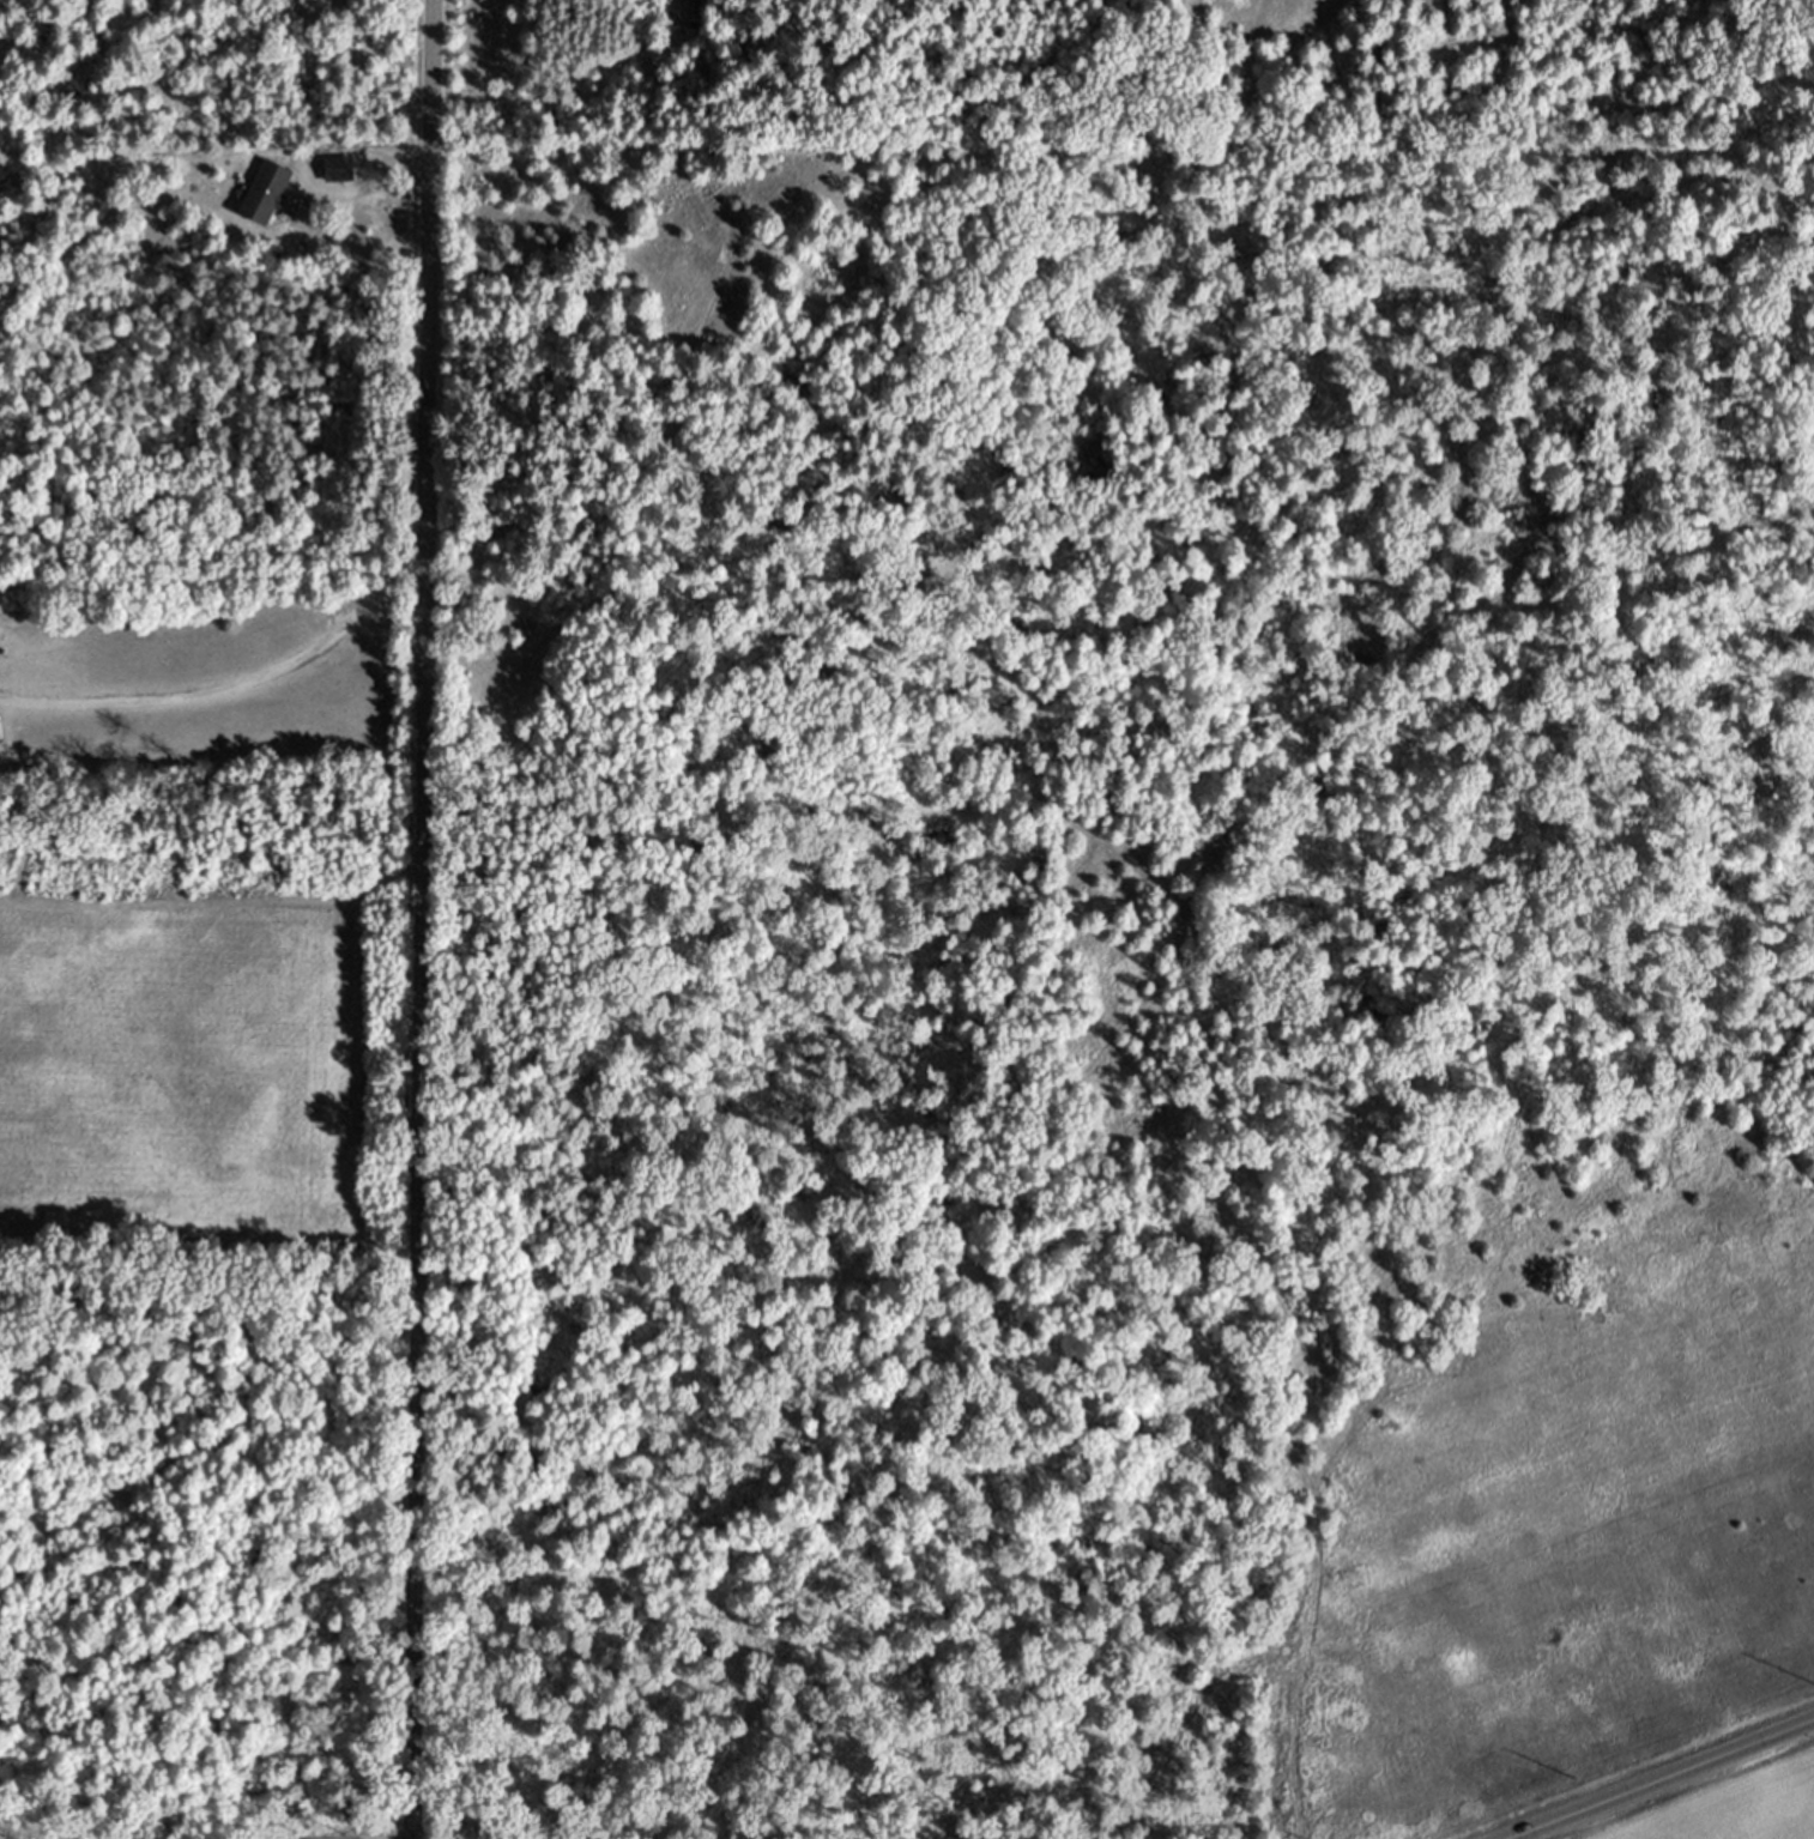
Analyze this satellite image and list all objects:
building: (333, 180)
building: (262, 204)
road: (230, 680)
road: (417, 919)
road: (1663, 1779)

